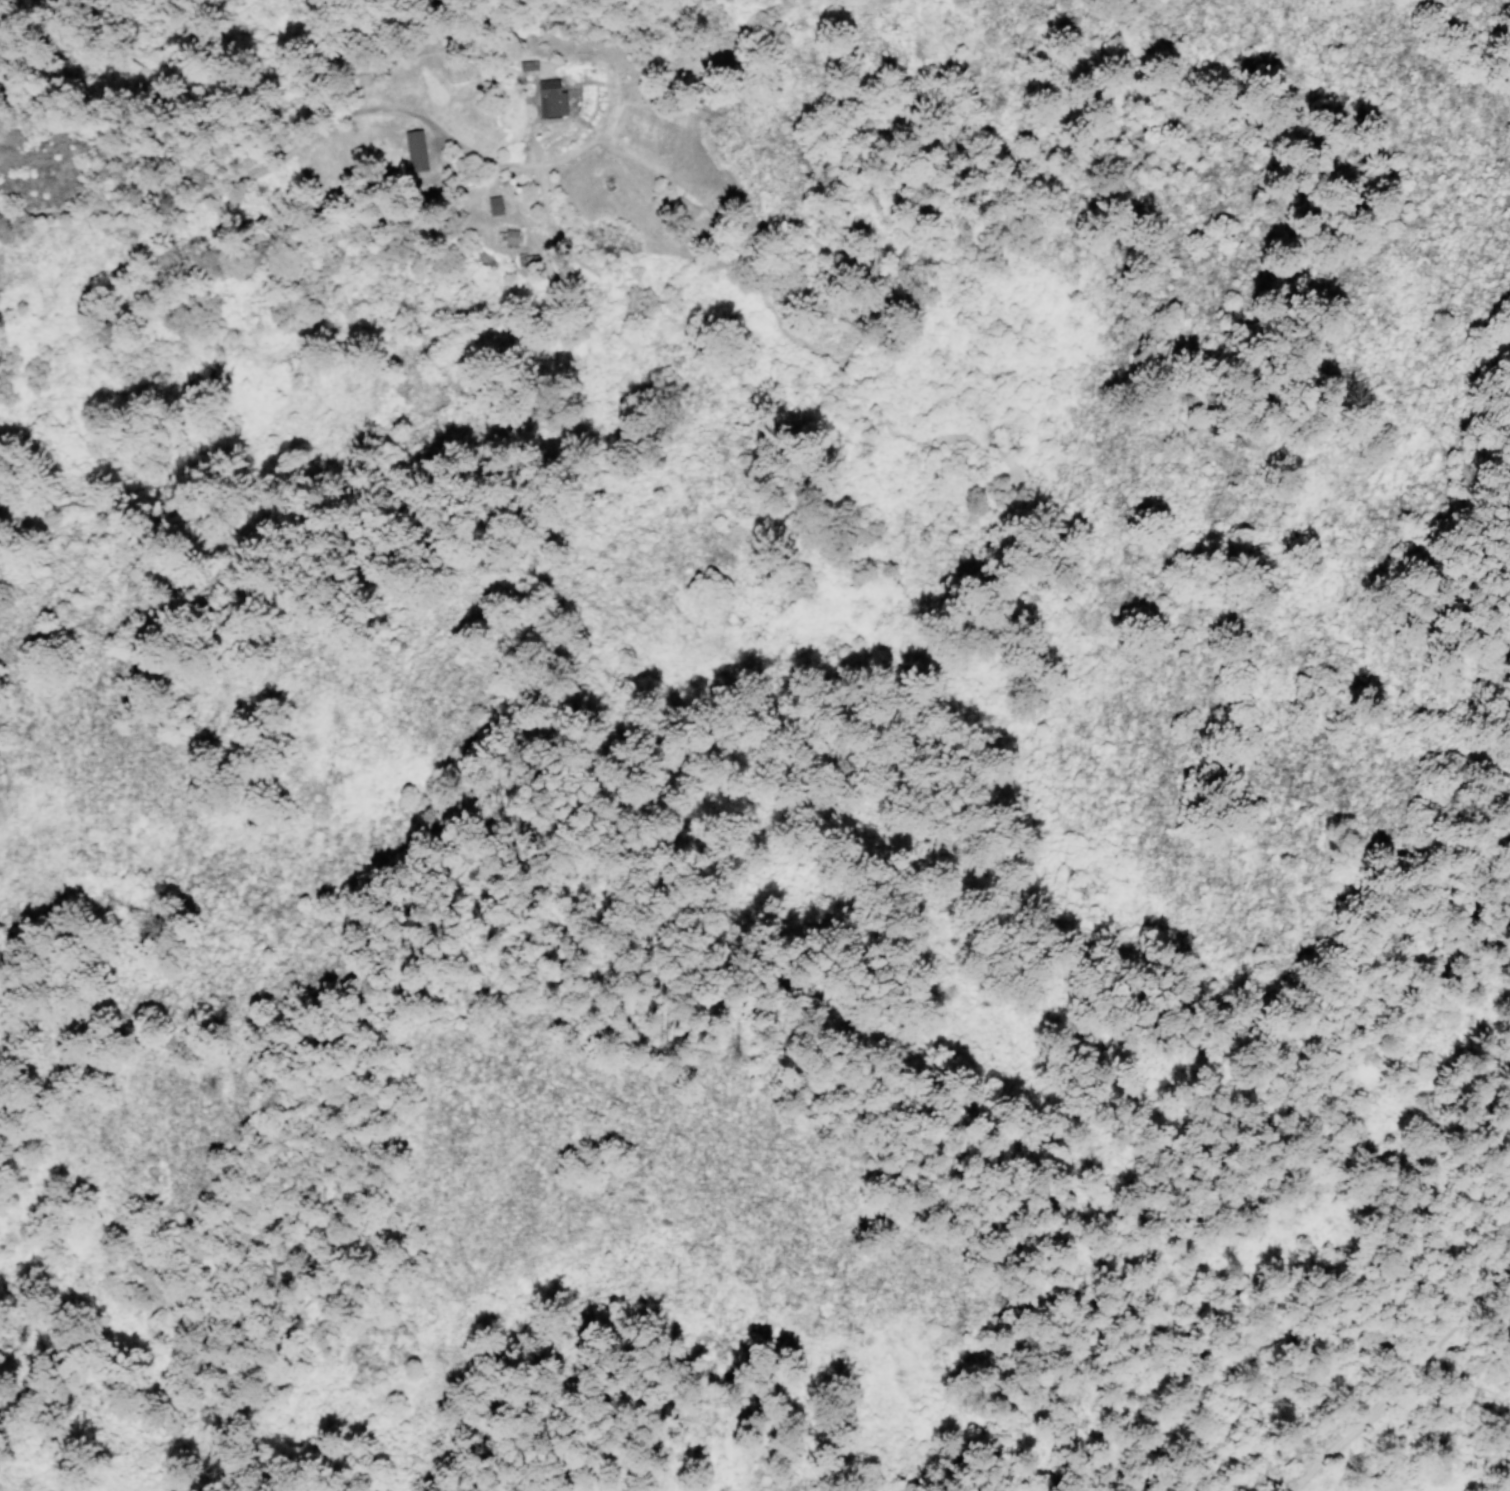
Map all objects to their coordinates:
building: (529, 66)
building: (553, 99)
road: (296, 142)
building: (496, 206)
building: (511, 239)
road: (1410, 1377)

